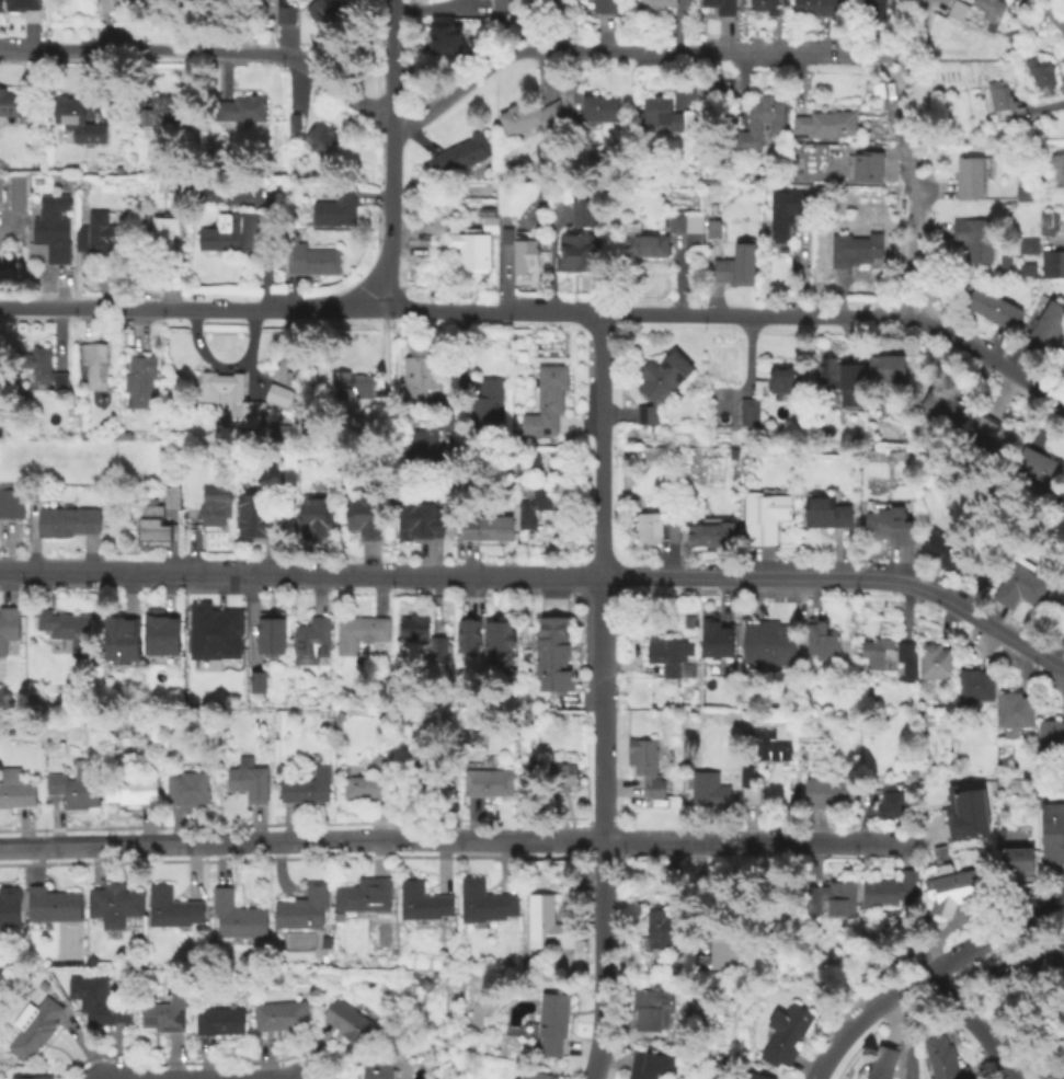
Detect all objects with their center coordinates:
building: (217, 0)
building: (657, 4)
building: (1, 5)
building: (24, 5)
building: (104, 5)
building: (869, 5)
building: (719, 7)
building: (766, 7)
road: (435, 8)
building: (603, 8)
building: (817, 9)
road: (928, 9)
building: (501, 10)
building: (956, 10)
road: (1052, 11)
building: (322, 12)
building: (988, 13)
building: (283, 16)
building: (446, 38)
building: (1014, 38)
road: (911, 41)
road: (628, 50)
road: (205, 53)
road: (393, 59)
road: (294, 70)
road: (545, 73)
building: (1039, 76)
road: (886, 80)
road: (798, 81)
building: (708, 88)
building: (1000, 103)
building: (10, 105)
road: (1046, 107)
building: (598, 110)
building: (237, 111)
building: (163, 113)
building: (660, 116)
building: (524, 117)
building: (75, 120)
building: (291, 124)
building: (756, 125)
building: (823, 127)
road: (414, 137)
building: (318, 142)
building: (461, 157)
building: (866, 168)
building: (1055, 170)
building: (970, 177)
building: (165, 186)
building: (15, 188)
building: (214, 192)
building: (1021, 195)
building: (716, 209)
building: (333, 210)
road: (915, 210)
building: (786, 213)
road: (390, 215)
building: (581, 215)
building: (682, 222)
building: (1046, 225)
building: (53, 227)
building: (712, 230)
building: (230, 231)
building: (99, 234)
building: (295, 238)
building: (971, 240)
building: (168, 245)
building: (644, 246)
building: (1025, 248)
building: (853, 250)
building: (470, 251)
building: (519, 253)
building: (575, 254)
road: (550, 260)
building: (309, 262)
building: (1052, 265)
building: (734, 266)
building: (1025, 273)
building: (826, 284)
road: (194, 309)
building: (991, 309)
road: (495, 312)
road: (845, 317)
building: (1045, 326)
building: (93, 363)
building: (35, 364)
road: (450, 368)
building: (884, 370)
building: (288, 376)
building: (417, 377)
building: (838, 377)
building: (137, 380)
building: (657, 384)
building: (348, 387)
building: (277, 392)
building: (782, 397)
building: (230, 398)
building: (546, 403)
building: (483, 405)
building: (940, 408)
building: (283, 431)
building: (857, 438)
building: (989, 439)
road: (602, 446)
building: (425, 450)
building: (896, 457)
building: (1037, 468)
building: (171, 496)
building: (11, 502)
building: (215, 502)
building: (1059, 503)
building: (531, 509)
building: (254, 514)
building: (363, 514)
building: (824, 515)
building: (763, 517)
building: (314, 518)
building: (420, 518)
building: (66, 519)
building: (151, 523)
building: (485, 526)
building: (888, 527)
building: (648, 529)
building: (708, 535)
building: (672, 537)
building: (945, 556)
road: (542, 576)
building: (1017, 589)
building: (1054, 602)
building: (8, 624)
building: (65, 628)
building: (356, 630)
building: (159, 631)
building: (214, 631)
building: (271, 632)
building: (421, 635)
building: (467, 635)
building: (714, 636)
building: (122, 638)
building: (310, 639)
building: (496, 642)
building: (821, 642)
building: (767, 644)
building: (550, 657)
building: (890, 657)
building: (671, 658)
building: (934, 663)
building: (258, 679)
building: (385, 686)
building: (974, 687)
building: (1012, 711)
building: (1049, 736)
building: (769, 745)
building: (376, 758)
building: (277, 766)
building: (644, 768)
building: (423, 777)
building: (553, 777)
building: (248, 779)
building: (488, 781)
building: (73, 785)
building: (306, 785)
building: (128, 787)
building: (187, 787)
building: (363, 787)
building: (14, 788)
building: (747, 790)
building: (709, 791)
building: (824, 794)
building: (889, 804)
building: (963, 814)
road: (194, 824)
road: (563, 827)
road: (603, 828)
building: (1052, 836)
road: (198, 843)
road: (460, 843)
road: (716, 843)
road: (553, 857)
road: (259, 858)
building: (1015, 863)
building: (889, 892)
building: (363, 893)
building: (825, 893)
building: (950, 893)
building: (421, 900)
building: (483, 900)
building: (52, 903)
building: (113, 903)
building: (9, 905)
building: (304, 906)
building: (171, 907)
building: (233, 915)
building: (545, 928)
building: (659, 932)
road: (942, 932)
building: (325, 942)
park: (66, 943)
building: (718, 952)
building: (90, 959)
building: (1049, 961)
building: (786, 964)
building: (675, 967)
road: (927, 971)
building: (99, 1006)
building: (650, 1010)
building: (164, 1015)
road: (972, 1017)
building: (277, 1019)
building: (218, 1024)
building: (346, 1024)
building: (550, 1025)
building: (33, 1029)
road: (906, 1031)
building: (782, 1037)
building: (941, 1060)
road: (204, 1061)
building: (881, 1064)
building: (647, 1066)
building: (374, 1069)
building: (533, 1076)
building: (754, 1077)
building: (30, 1078)

